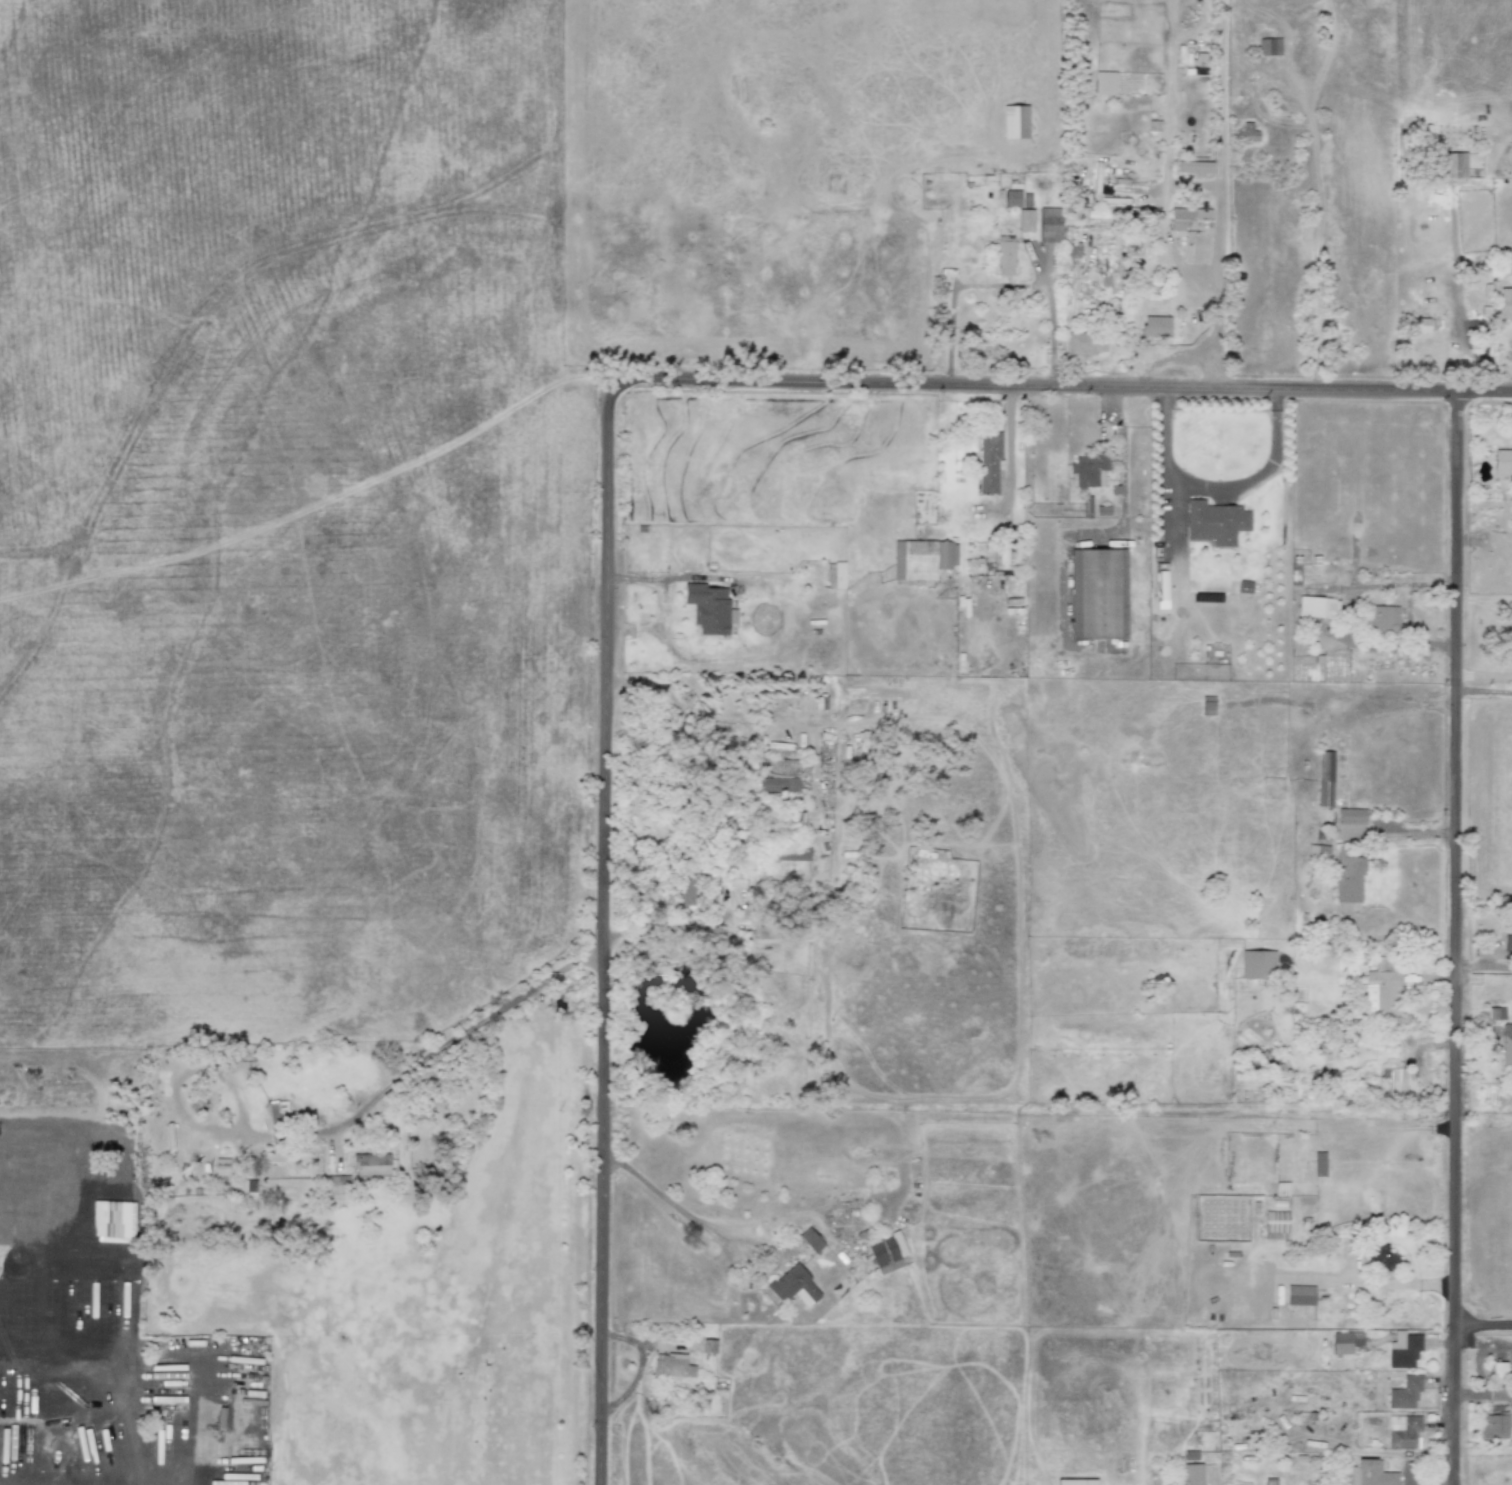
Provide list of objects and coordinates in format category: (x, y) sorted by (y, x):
building: (1269, 47)
building: (1105, 83)
building: (1015, 121)
building: (1247, 133)
building: (1452, 165)
building: (1195, 167)
building: (1012, 199)
building: (1190, 219)
building: (1026, 220)
building: (1049, 224)
building: (1071, 253)
building: (1005, 254)
road: (1218, 278)
building: (1505, 303)
building: (1421, 325)
building: (1155, 326)
road: (1053, 339)
building: (1086, 343)
road: (1059, 387)
road: (1009, 447)
road: (1123, 457)
building: (1502, 462)
building: (988, 463)
building: (1089, 469)
road: (1217, 487)
building: (1214, 522)
building: (922, 558)
solar farm: (278, 575)
building: (835, 575)
building: (1098, 594)
building: (1317, 607)
building: (709, 608)
building: (1380, 618)
road: (1485, 673)
road: (1484, 690)
building: (1325, 779)
building: (779, 784)
building: (1351, 816)
building: (1318, 852)
building: (1348, 877)
building: (683, 894)
road: (609, 939)
road: (1457, 940)
building: (1507, 943)
building: (1257, 964)
road: (1484, 967)
building: (1381, 990)
building: (1496, 1013)
building: (1506, 1046)
building: (1393, 1082)
building: (371, 1164)
building: (1318, 1164)
building: (335, 1184)
building: (1229, 1190)
road: (687, 1214)
building: (1276, 1225)
building: (810, 1240)
building: (887, 1252)
building: (1380, 1258)
building: (794, 1286)
building: (1300, 1295)
road: (1483, 1327)
building: (1345, 1342)
building: (708, 1346)
building: (1404, 1350)
building: (671, 1365)
road: (638, 1367)
building: (1499, 1372)
building: (1405, 1393)
building: (1498, 1394)
building: (1494, 1426)
building: (1403, 1432)
building: (1371, 1473)
building: (1192, 1474)
building: (1076, 1482)

